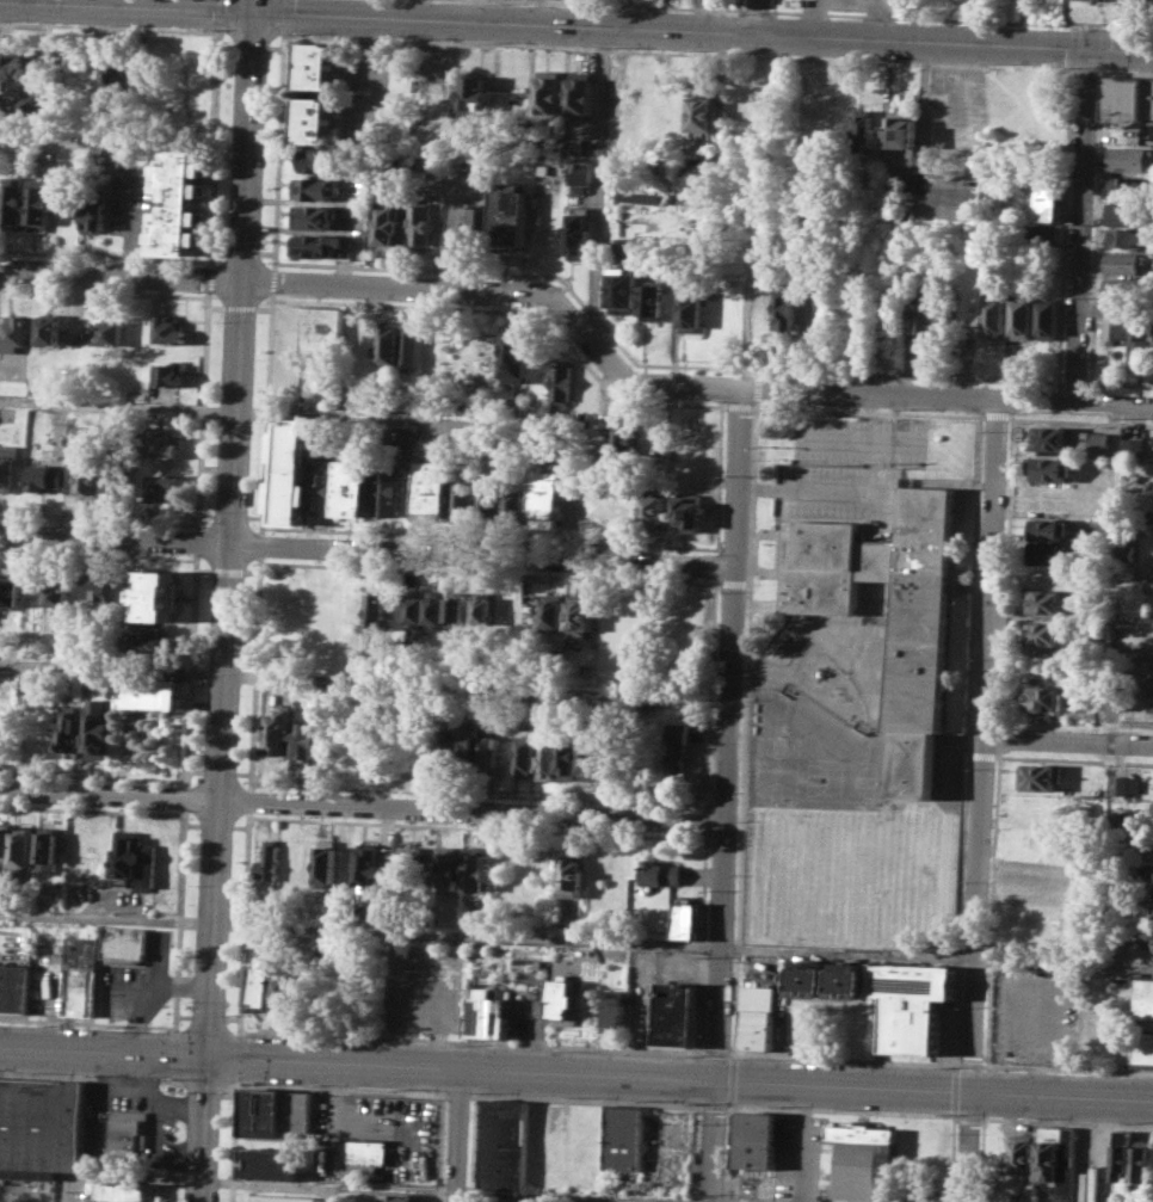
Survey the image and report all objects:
building: (1132, 0)
road: (634, 5)
road: (736, 5)
road: (773, 5)
road: (754, 10)
road: (220, 13)
road: (284, 14)
road: (756, 16)
road: (960, 19)
road: (576, 24)
road: (1105, 29)
road: (220, 30)
road: (218, 39)
road: (438, 41)
road: (226, 44)
road: (251, 44)
road: (275, 45)
road: (1103, 48)
road: (600, 49)
traffic signals: (1089, 50)
road: (840, 58)
building: (316, 64)
building: (12, 67)
road: (376, 69)
road: (1085, 69)
road: (1124, 70)
building: (113, 79)
parking lot: (377, 90)
building: (549, 92)
building: (580, 94)
building: (477, 97)
building: (1147, 99)
building: (1123, 100)
building: (703, 111)
building: (314, 118)
building: (861, 132)
building: (900, 135)
road: (49, 141)
building: (578, 144)
road: (277, 149)
building: (1127, 155)
building: (321, 160)
building: (579, 175)
building: (179, 177)
building: (695, 177)
road: (598, 179)
building: (1126, 185)
building: (314, 187)
building: (954, 195)
building: (1047, 195)
building: (14, 202)
building: (39, 203)
building: (1126, 214)
building: (93, 215)
building: (507, 216)
building: (313, 217)
building: (420, 222)
road: (1096, 224)
building: (384, 226)
road: (1063, 226)
road: (1083, 227)
building: (469, 228)
building: (177, 229)
building: (579, 232)
building: (1037, 233)
building: (1126, 236)
building: (316, 245)
building: (624, 246)
road: (217, 249)
road: (242, 251)
road: (266, 253)
road: (104, 254)
building: (1123, 263)
road: (436, 270)
road: (242, 271)
road: (208, 277)
road: (271, 282)
building: (1123, 288)
building: (623, 289)
road: (104, 291)
road: (517, 294)
building: (930, 297)
building: (654, 302)
road: (215, 306)
building: (693, 306)
road: (240, 307)
road: (264, 307)
building: (788, 308)
building: (993, 314)
road: (593, 315)
building: (1022, 315)
building: (927, 316)
building: (1047, 319)
building: (1112, 320)
building: (1139, 327)
building: (168, 328)
building: (322, 328)
building: (49, 329)
building: (111, 332)
building: (17, 333)
building: (389, 341)
building: (411, 343)
road: (573, 347)
building: (516, 353)
building: (105, 359)
road: (8, 370)
road: (822, 371)
building: (171, 374)
building: (562, 381)
road: (1073, 382)
road: (1118, 384)
road: (1074, 402)
road: (726, 405)
road: (740, 405)
road: (203, 409)
road: (868, 411)
road: (266, 412)
road: (995, 413)
road: (284, 415)
road: (1079, 420)
building: (78, 433)
building: (624, 437)
building: (1053, 437)
building: (162, 443)
road: (869, 443)
building: (1133, 445)
building: (8, 466)
building: (1049, 468)
building: (290, 470)
parking lot: (850, 470)
building: (91, 471)
building: (115, 473)
building: (45, 476)
building: (1129, 481)
building: (162, 485)
building: (352, 487)
building: (321, 488)
building: (431, 489)
building: (387, 491)
road: (810, 492)
building: (461, 493)
building: (547, 498)
road: (753, 498)
building: (488, 503)
building: (516, 506)
building: (689, 510)
building: (653, 511)
road: (206, 514)
road: (229, 514)
road: (253, 516)
road: (98, 519)
building: (1048, 528)
road: (115, 537)
road: (489, 537)
road: (197, 541)
road: (260, 542)
building: (1124, 545)
building: (1047, 553)
road: (98, 554)
road: (482, 554)
road: (717, 565)
road: (204, 569)
road: (227, 569)
road: (252, 571)
road: (491, 572)
road: (733, 582)
building: (10, 588)
building: (101, 591)
building: (61, 592)
building: (159, 594)
building: (1047, 600)
building: (457, 608)
building: (417, 610)
building: (378, 611)
building: (436, 611)
building: (482, 611)
building: (554, 611)
building: (580, 615)
building: (1046, 633)
building: (148, 642)
road: (191, 668)
building: (918, 670)
building: (588, 671)
road: (254, 672)
building: (1151, 672)
road: (365, 682)
building: (152, 692)
road: (711, 694)
building: (1048, 697)
building: (1149, 699)
building: (489, 703)
building: (99, 726)
building: (72, 731)
building: (279, 731)
road: (966, 739)
building: (307, 742)
building: (469, 744)
road: (985, 744)
road: (1069, 746)
building: (679, 747)
building: (438, 752)
building: (528, 752)
building: (489, 756)
building: (569, 757)
building: (592, 757)
building: (548, 759)
road: (195, 770)
road: (218, 771)
road: (242, 772)
road: (93, 775)
building: (1040, 777)
building: (1124, 784)
road: (479, 793)
road: (727, 794)
road: (185, 796)
road: (249, 800)
road: (363, 807)
road: (92, 809)
road: (707, 821)
road: (192, 822)
road: (216, 824)
road: (240, 825)
road: (584, 832)
road: (707, 836)
building: (1037, 838)
building: (5, 839)
building: (23, 849)
building: (48, 851)
building: (134, 858)
building: (269, 861)
building: (369, 862)
building: (326, 863)
building: (409, 863)
building: (446, 868)
building: (475, 868)
road: (217, 871)
building: (661, 873)
building: (572, 874)
building: (1152, 883)
road: (180, 919)
building: (686, 919)
road: (245, 921)
road: (360, 929)
building: (128, 944)
building: (263, 944)
road: (847, 951)
road: (1063, 961)
building: (81, 975)
building: (809, 979)
building: (849, 980)
building: (260, 986)
building: (16, 987)
building: (289, 993)
building: (563, 1003)
building: (912, 1003)
building: (612, 1007)
building: (486, 1012)
building: (674, 1013)
road: (184, 1015)
parking lot: (1037, 1015)
road: (206, 1016)
building: (759, 1016)
road: (232, 1017)
road: (87, 1022)
building: (1143, 1024)
road: (470, 1041)
road: (715, 1052)
traffic signals: (210, 1056)
road: (843, 1058)
road: (969, 1064)
road: (485, 1067)
road: (1067, 1067)
road: (90, 1075)
road: (203, 1080)
road: (1061, 1093)
building: (298, 1111)
building: (263, 1112)
building: (42, 1126)
building: (134, 1133)
road: (457, 1134)
building: (623, 1138)
building: (760, 1140)
building: (502, 1144)
road: (969, 1146)
building: (1022, 1152)
building: (368, 1153)
building: (1123, 1154)
building: (1058, 1158)
building: (273, 1163)
building: (861, 1164)
building: (1143, 1164)
road: (331, 1186)
building: (1095, 1188)
building: (125, 1190)
road: (323, 1194)
road: (559, 1196)
building: (282, 1197)
building: (347, 1197)
building: (400, 1197)
road: (581, 1200)
building: (511, 1201)

